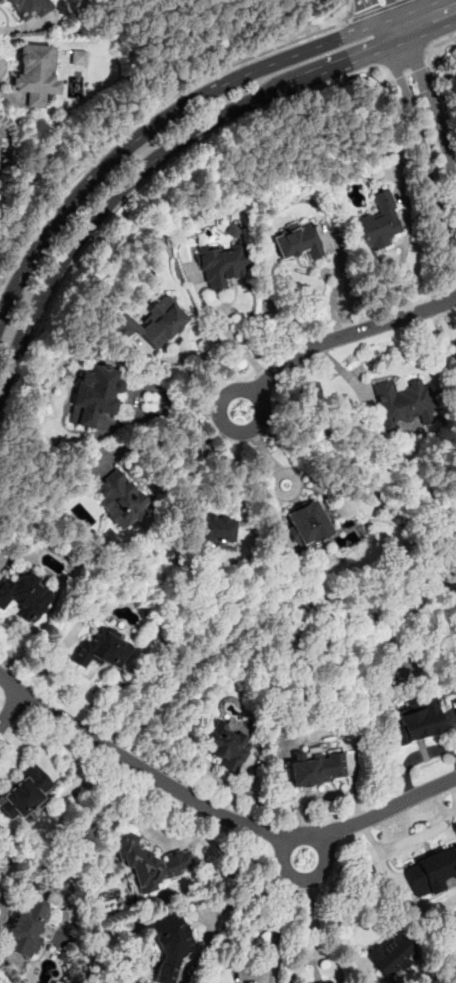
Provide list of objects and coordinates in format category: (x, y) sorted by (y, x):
building: (26, 9)
road: (376, 9)
road: (395, 9)
road: (345, 11)
road: (374, 12)
road: (444, 39)
building: (78, 58)
building: (35, 74)
road: (430, 100)
road: (183, 107)
road: (145, 115)
road: (416, 135)
road: (174, 144)
building: (379, 221)
building: (233, 230)
building: (298, 238)
road: (405, 246)
building: (221, 264)
road: (334, 284)
building: (153, 324)
road: (338, 337)
road: (237, 342)
building: (95, 394)
building: (404, 404)
road: (257, 442)
road: (170, 445)
road: (238, 462)
road: (273, 486)
building: (121, 497)
building: (307, 524)
building: (216, 528)
building: (26, 596)
building: (103, 648)
road: (11, 709)
building: (418, 722)
building: (225, 745)
road: (22, 750)
road: (416, 752)
building: (317, 767)
building: (24, 794)
road: (321, 796)
road: (216, 812)
road: (420, 835)
road: (162, 837)
road: (303, 845)
building: (151, 863)
building: (432, 871)
road: (259, 889)
road: (340, 908)
road: (278, 918)
road: (310, 922)
building: (26, 927)
building: (170, 944)
building: (392, 954)
building: (324, 982)

